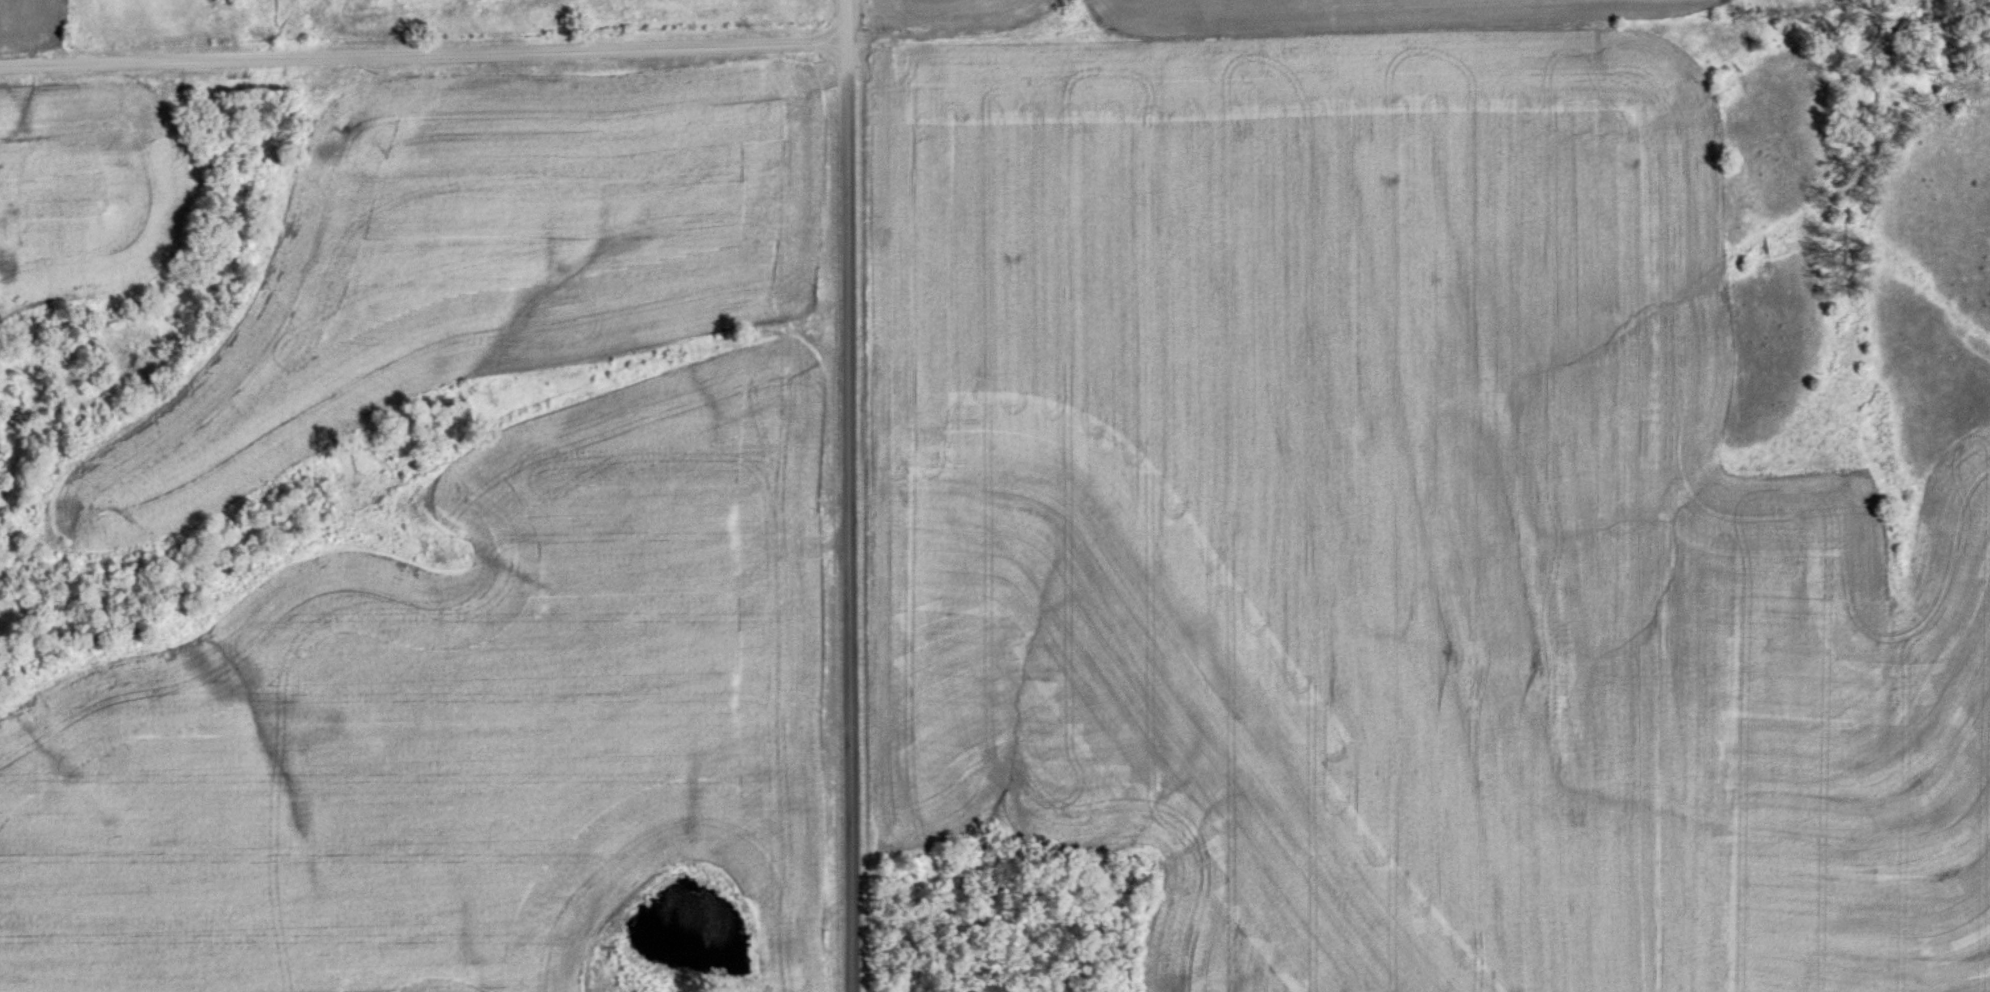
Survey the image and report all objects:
road: (421, 51)
road: (849, 495)

